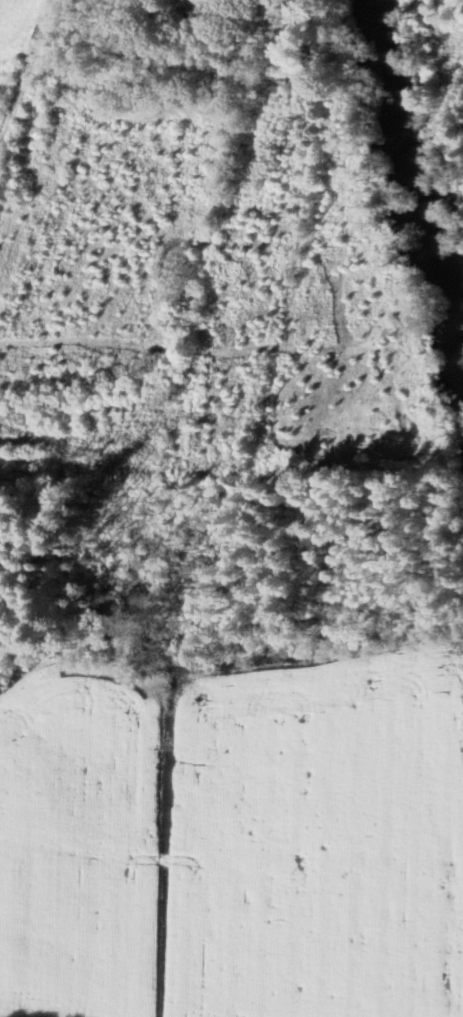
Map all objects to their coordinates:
river: (381, 40)
railway: (25, 73)
river: (422, 230)

